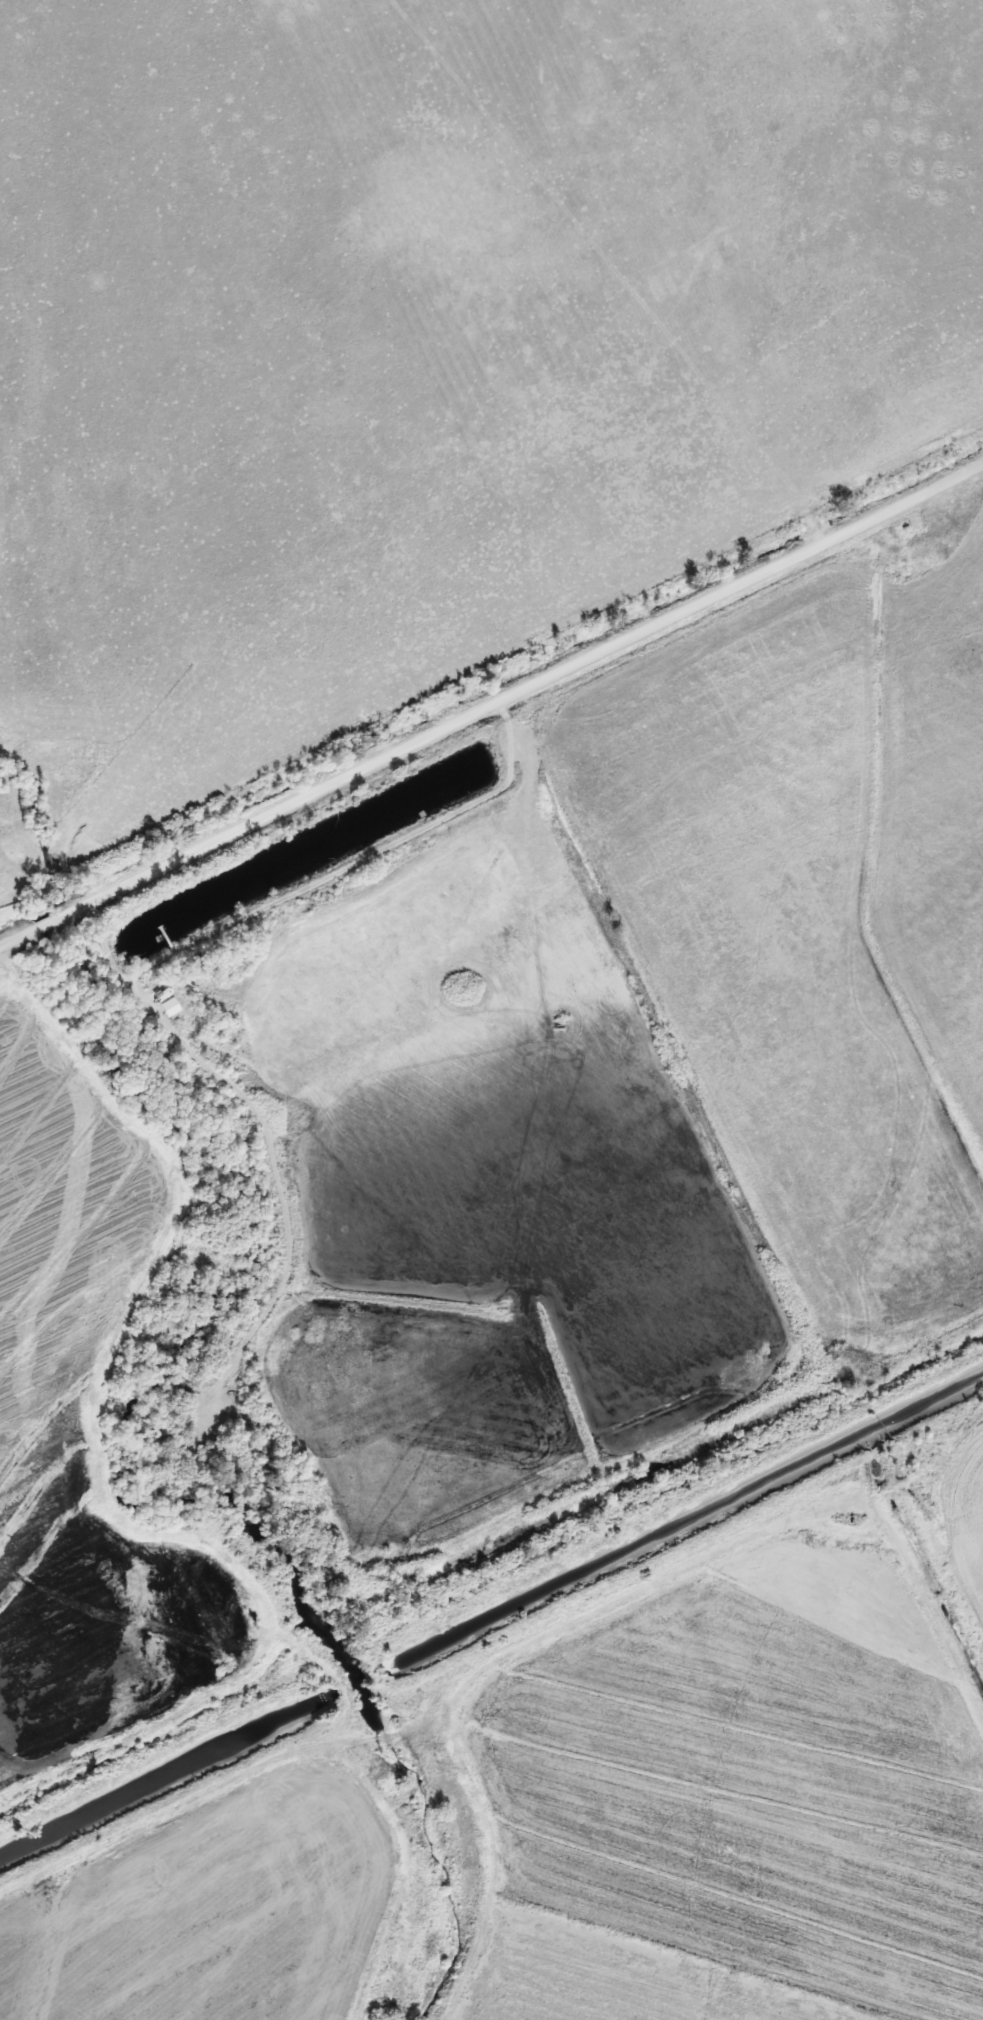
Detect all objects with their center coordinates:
road: (491, 705)

